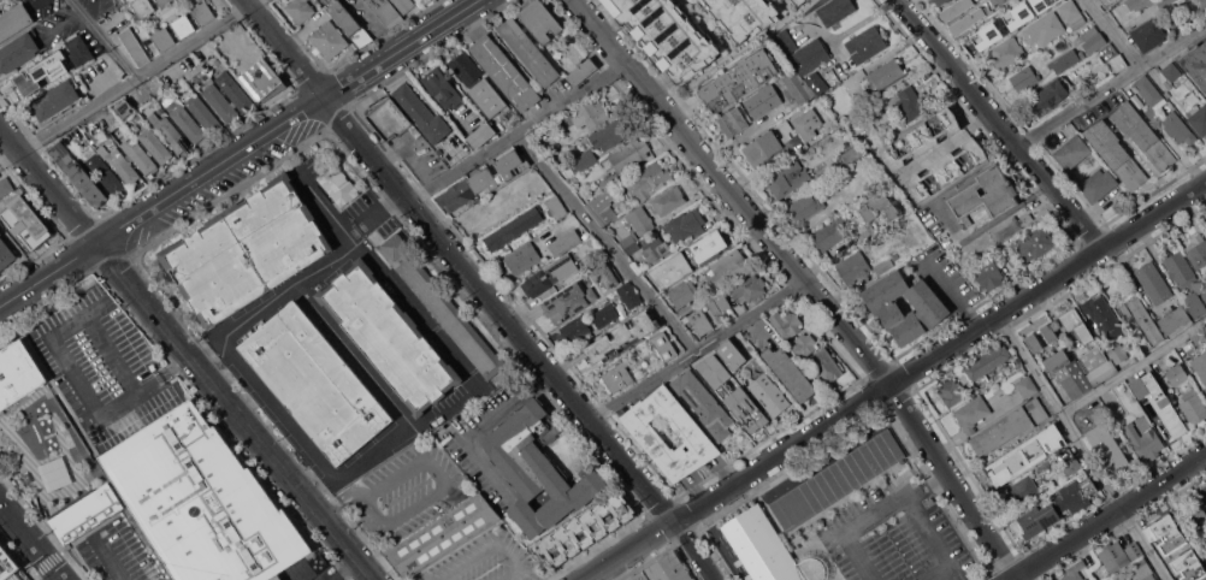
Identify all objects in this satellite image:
building: (0, 0)
building: (418, 0)
building: (808, 0)
building: (164, 1)
building: (799, 1)
building: (940, 1)
building: (1001, 1)
building: (1109, 2)
building: (1202, 2)
building: (404, 5)
building: (1139, 5)
building: (142, 7)
building: (300, 10)
building: (1070, 10)
building: (953, 11)
building: (1023, 11)
building: (202, 12)
building: (386, 12)
building: (835, 12)
building: (1171, 13)
building: (743, 16)
road: (864, 19)
building: (14, 20)
building: (540, 20)
building: (349, 22)
road: (376, 24)
building: (962, 24)
building: (183, 25)
building: (1045, 29)
building: (982, 34)
road: (1110, 34)
building: (667, 35)
building: (1148, 35)
road: (828, 36)
building: (162, 39)
building: (329, 39)
road: (105, 40)
building: (1093, 40)
building: (784, 42)
building: (867, 43)
building: (134, 46)
road: (283, 47)
road: (398, 47)
building: (81, 49)
building: (18, 51)
building: (530, 52)
building: (1007, 53)
building: (810, 55)
building: (1113, 57)
building: (1066, 60)
building: (1195, 63)
building: (581, 71)
building: (1171, 72)
building: (506, 73)
building: (886, 75)
building: (37, 76)
building: (1024, 78)
building: (264, 79)
building: (739, 79)
road: (130, 83)
building: (816, 83)
road: (1111, 84)
building: (479, 85)
building: (799, 87)
building: (442, 88)
building: (235, 90)
building: (1151, 95)
building: (1050, 96)
building: (162, 97)
building: (1192, 97)
building: (218, 99)
building: (55, 100)
building: (759, 102)
building: (909, 105)
building: (124, 107)
building: (203, 113)
building: (421, 113)
building: (591, 114)
building: (389, 118)
building: (1199, 119)
building: (733, 122)
building: (491, 123)
building: (188, 124)
building: (808, 124)
road: (998, 124)
building: (1178, 128)
building: (169, 131)
building: (611, 132)
road: (521, 134)
building: (481, 135)
building: (1143, 135)
building: (99, 137)
building: (921, 138)
building: (870, 140)
building: (155, 144)
building: (763, 147)
road: (944, 147)
building: (1072, 150)
building: (138, 154)
building: (629, 154)
building: (1117, 154)
building: (849, 156)
building: (585, 160)
building: (120, 164)
building: (946, 168)
building: (101, 170)
building: (78, 173)
building: (787, 178)
building: (484, 179)
building: (608, 179)
building: (648, 179)
building: (1099, 184)
building: (338, 185)
building: (5, 187)
building: (985, 195)
road: (160, 200)
building: (668, 200)
road: (323, 202)
building: (603, 206)
building: (880, 206)
building: (557, 207)
building: (806, 207)
building: (832, 213)
building: (640, 219)
building: (26, 223)
building: (685, 224)
building: (1009, 226)
building: (513, 229)
building: (0, 232)
building: (828, 235)
building: (628, 241)
building: (564, 242)
building: (1035, 243)
road: (608, 244)
building: (633, 248)
building: (655, 248)
building: (247, 250)
building: (1196, 250)
building: (6, 254)
building: (522, 258)
building: (690, 259)
building: (883, 265)
building: (853, 267)
building: (729, 268)
building: (550, 274)
building: (607, 274)
building: (989, 274)
road: (306, 280)
road: (805, 280)
building: (1186, 280)
building: (1153, 282)
building: (749, 288)
building: (684, 292)
road: (947, 294)
building: (629, 296)
building: (1205, 297)
building: (569, 301)
building: (719, 303)
building: (443, 307)
building: (932, 307)
building: (605, 315)
building: (1102, 315)
building: (1142, 319)
building: (1175, 320)
building: (700, 321)
building: (786, 322)
building: (1076, 325)
building: (577, 329)
building: (1050, 332)
road: (522, 335)
building: (389, 336)
building: (1137, 336)
building: (621, 337)
building: (1034, 342)
building: (663, 345)
building: (804, 345)
road: (188, 351)
road: (702, 351)
building: (1116, 351)
building: (732, 354)
road: (110, 355)
road: (355, 357)
building: (716, 360)
building: (988, 362)
building: (1094, 363)
building: (824, 365)
building: (1200, 365)
road: (1134, 366)
building: (1069, 372)
building: (18, 373)
building: (790, 373)
building: (1176, 373)
building: (617, 377)
building: (1142, 379)
road: (893, 381)
building: (317, 383)
building: (1027, 386)
building: (951, 392)
building: (769, 393)
road: (88, 397)
building: (740, 402)
building: (703, 403)
building: (1135, 404)
building: (1193, 408)
building: (1152, 409)
building: (973, 413)
building: (1175, 422)
road: (479, 424)
building: (1010, 426)
building: (57, 428)
road: (413, 428)
building: (691, 432)
building: (1054, 439)
building: (1145, 439)
road: (1083, 446)
building: (1109, 449)
building: (1011, 463)
building: (1071, 464)
building: (538, 468)
road: (436, 470)
building: (838, 479)
building: (1022, 491)
building: (1076, 495)
road: (343, 497)
building: (176, 499)
building: (1205, 501)
road: (373, 510)
road: (1107, 516)
building: (1198, 516)
road: (874, 517)
building: (1037, 519)
building: (587, 527)
building: (1165, 533)
building: (443, 535)
road: (32, 538)
road: (486, 548)
building: (770, 550)
building: (1133, 550)
building: (1115, 557)
road: (111, 560)
building: (7, 563)
building: (319, 563)
road: (341, 567)
building: (1141, 568)
building: (664, 569)
building: (1075, 570)
building: (1195, 570)
building: (277, 578)

